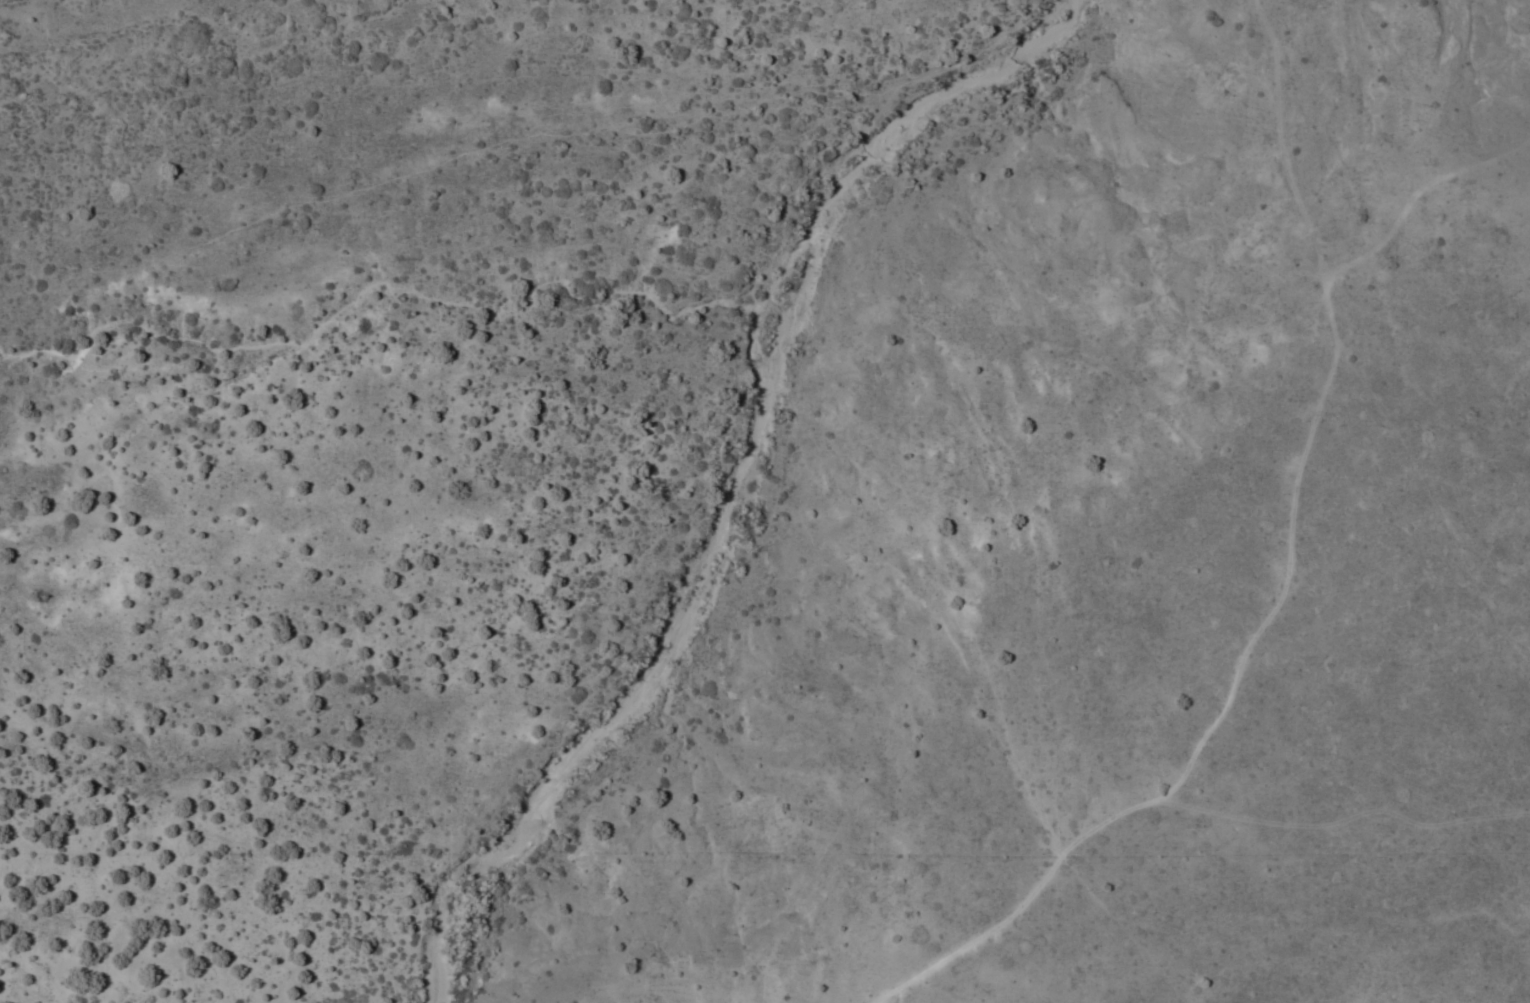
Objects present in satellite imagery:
road: (1132, 782)

